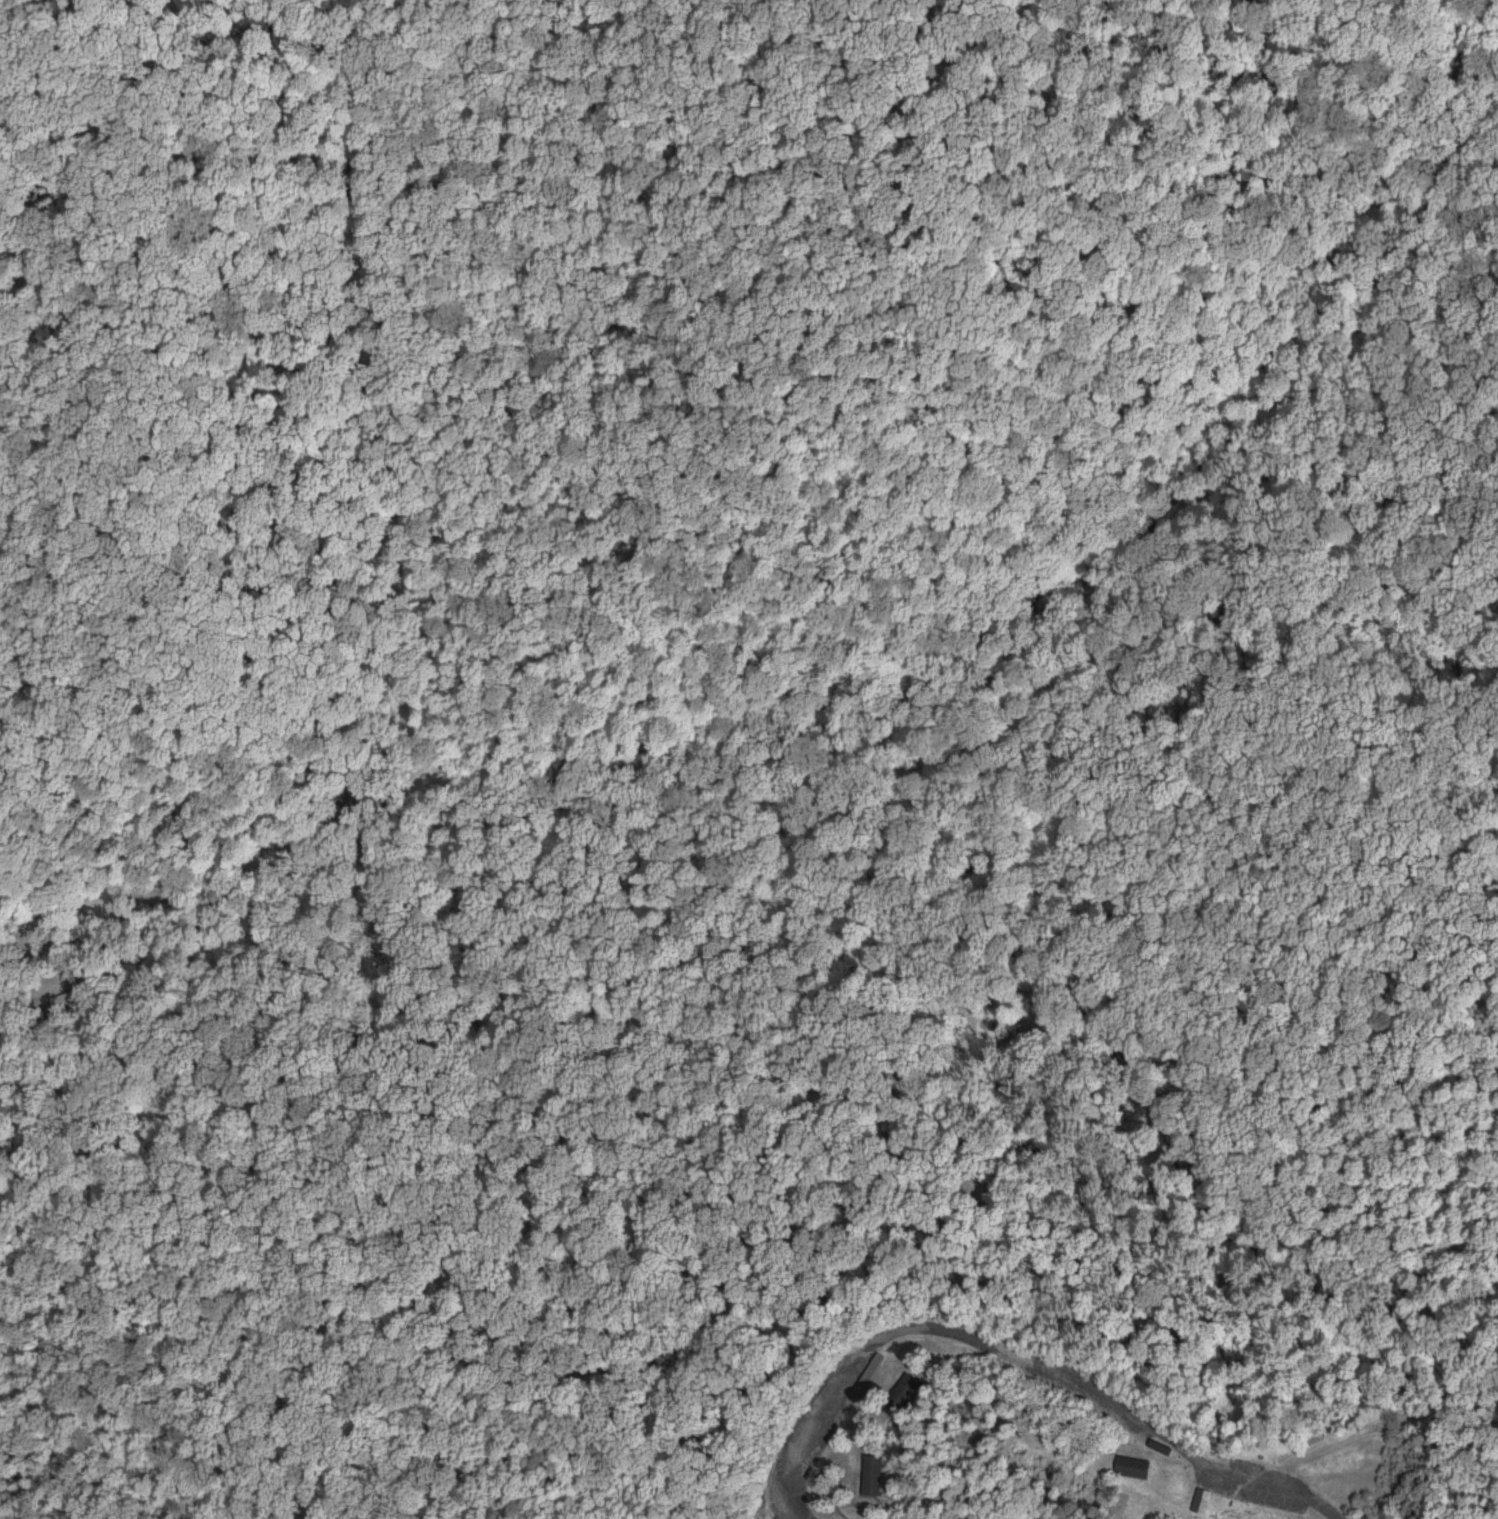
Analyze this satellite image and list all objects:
road: (1357, 128)
road: (1414, 374)
road: (492, 418)
road: (946, 664)
road: (204, 893)
road: (1113, 1288)
road: (1022, 1348)
building: (903, 1394)
building: (1313, 1437)
building: (1134, 1466)
building: (873, 1474)
building: (1203, 1499)

